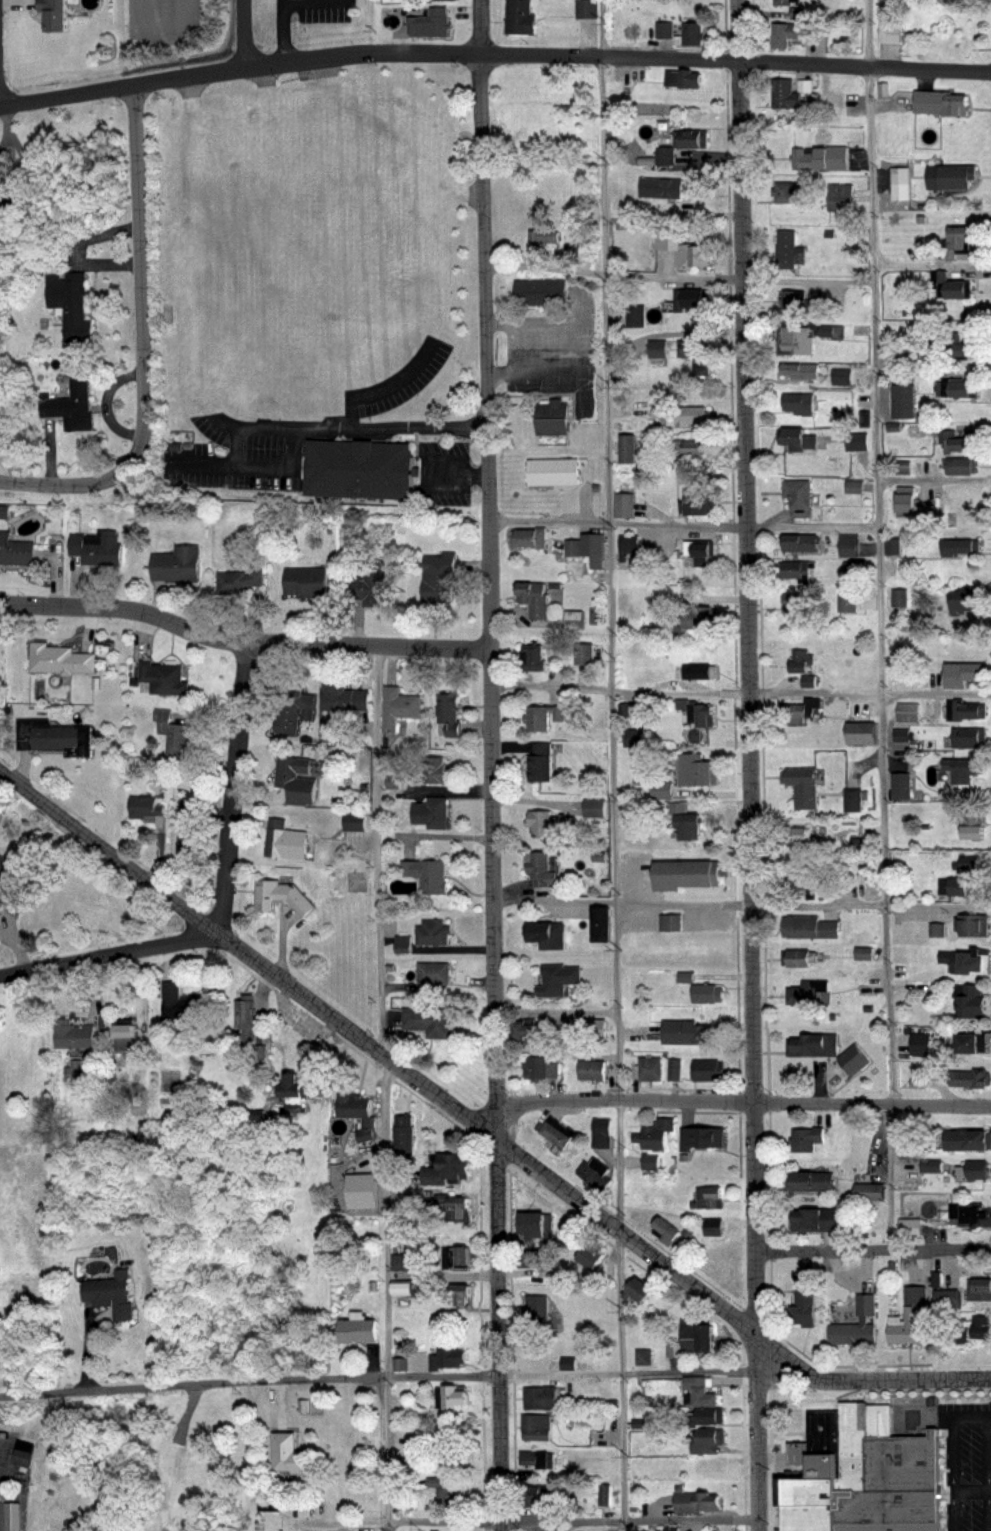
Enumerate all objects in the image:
building: (903, 0)
building: (954, 1)
road: (315, 3)
building: (784, 3)
building: (584, 8)
parking lot: (320, 11)
building: (54, 16)
building: (519, 17)
parking lot: (164, 18)
building: (430, 23)
road: (284, 30)
building: (891, 31)
road: (243, 32)
building: (692, 33)
building: (793, 33)
building: (949, 41)
road: (493, 54)
building: (682, 82)
building: (622, 87)
building: (786, 97)
building: (939, 104)
building: (517, 119)
road: (4, 138)
building: (688, 138)
building: (820, 158)
road: (22, 160)
building: (953, 177)
building: (899, 184)
building: (660, 187)
building: (784, 192)
building: (840, 198)
building: (542, 237)
building: (957, 241)
building: (788, 252)
building: (269, 253)
building: (692, 256)
road: (932, 265)
road: (678, 280)
building: (950, 287)
building: (539, 293)
building: (689, 300)
building: (801, 303)
building: (70, 304)
building: (635, 316)
building: (794, 341)
road: (141, 343)
road: (519, 343)
building: (955, 346)
building: (658, 349)
building: (693, 349)
building: (800, 371)
building: (961, 390)
building: (904, 402)
building: (799, 404)
building: (71, 408)
building: (683, 416)
building: (553, 418)
road: (364, 426)
building: (798, 439)
building: (853, 441)
building: (955, 443)
building: (628, 450)
building: (691, 450)
building: (961, 466)
building: (900, 467)
building: (358, 469)
road: (453, 470)
building: (552, 471)
road: (933, 479)
building: (798, 497)
building: (699, 504)
building: (905, 504)
building: (624, 505)
road: (682, 526)
building: (531, 537)
building: (627, 544)
building: (798, 545)
building: (847, 546)
building: (889, 547)
building: (573, 548)
building: (957, 548)
building: (99, 549)
building: (592, 549)
building: (15, 551)
building: (697, 551)
building: (176, 565)
building: (794, 569)
building: (437, 578)
building: (239, 582)
building: (303, 583)
building: (371, 590)
building: (896, 598)
building: (533, 599)
building: (966, 600)
building: (846, 602)
building: (797, 606)
building: (697, 618)
building: (573, 621)
road: (878, 625)
road: (242, 643)
building: (583, 654)
building: (60, 657)
building: (532, 658)
building: (799, 661)
building: (698, 669)
building: (964, 672)
building: (165, 678)
road: (740, 694)
building: (344, 699)
building: (295, 707)
building: (397, 707)
building: (696, 710)
building: (800, 710)
building: (965, 710)
building: (906, 712)
building: (548, 714)
building: (449, 715)
building: (173, 732)
building: (860, 732)
building: (55, 736)
building: (633, 736)
building: (970, 736)
building: (541, 761)
road: (491, 765)
road: (613, 765)
road: (748, 765)
building: (965, 766)
building: (435, 769)
building: (697, 770)
building: (297, 779)
building: (901, 785)
road: (233, 786)
building: (800, 786)
building: (658, 790)
building: (849, 800)
building: (141, 807)
building: (590, 807)
building: (432, 812)
building: (548, 821)
building: (353, 822)
building: (688, 824)
building: (189, 828)
building: (973, 831)
building: (802, 834)
building: (286, 839)
road: (109, 847)
road: (377, 853)
building: (972, 861)
building: (540, 866)
building: (686, 873)
building: (11, 876)
building: (418, 878)
building: (803, 878)
building: (953, 885)
building: (280, 895)
road: (742, 905)
building: (670, 920)
building: (972, 922)
building: (601, 923)
building: (809, 926)
building: (433, 931)
building: (547, 933)
road: (109, 949)
building: (860, 953)
building: (802, 957)
building: (967, 960)
building: (431, 975)
building: (559, 978)
building: (708, 992)
building: (811, 993)
building: (971, 1001)
building: (180, 1003)
building: (243, 1011)
building: (429, 1021)
building: (595, 1028)
building: (691, 1030)
building: (528, 1031)
building: (72, 1034)
road: (354, 1035)
building: (123, 1037)
building: (972, 1042)
building: (921, 1044)
building: (814, 1045)
building: (854, 1059)
building: (540, 1067)
building: (72, 1068)
building: (649, 1068)
building: (674, 1068)
building: (591, 1069)
building: (708, 1070)
building: (971, 1077)
building: (291, 1087)
road: (743, 1102)
building: (357, 1111)
building: (601, 1131)
building: (555, 1132)
building: (655, 1134)
building: (701, 1136)
building: (402, 1138)
building: (806, 1138)
building: (967, 1140)
building: (650, 1161)
building: (447, 1169)
building: (594, 1173)
building: (969, 1173)
building: (812, 1181)
building: (867, 1191)
building: (709, 1196)
building: (457, 1207)
building: (972, 1214)
road: (386, 1218)
building: (817, 1220)
building: (537, 1224)
building: (711, 1227)
building: (910, 1227)
building: (667, 1229)
road: (624, 1235)
road: (872, 1251)
building: (458, 1256)
building: (590, 1257)
building: (531, 1258)
building: (400, 1262)
building: (398, 1286)
building: (980, 1287)
building: (637, 1290)
building: (461, 1293)
building: (108, 1295)
building: (948, 1298)
building: (804, 1302)
building: (536, 1311)
building: (911, 1317)
building: (857, 1323)
building: (358, 1326)
building: (980, 1326)
building: (690, 1328)
building: (706, 1336)
building: (675, 1349)
building: (642, 1357)
building: (447, 1358)
road: (571, 1375)
road: (864, 1381)
road: (194, 1385)
building: (450, 1397)
building: (703, 1397)
building: (539, 1398)
road: (972, 1414)
building: (709, 1415)
building: (535, 1426)
building: (707, 1441)
building: (450, 1452)
building: (288, 1454)
road: (390, 1454)
building: (24, 1458)
road: (169, 1459)
building: (537, 1459)
parking lot: (967, 1462)
park: (156, 1463)
building: (700, 1466)
building: (861, 1472)
building: (447, 1492)
road: (973, 1492)
building: (534, 1494)
building: (604, 1495)
building: (695, 1501)
building: (13, 1516)
road: (574, 1522)

